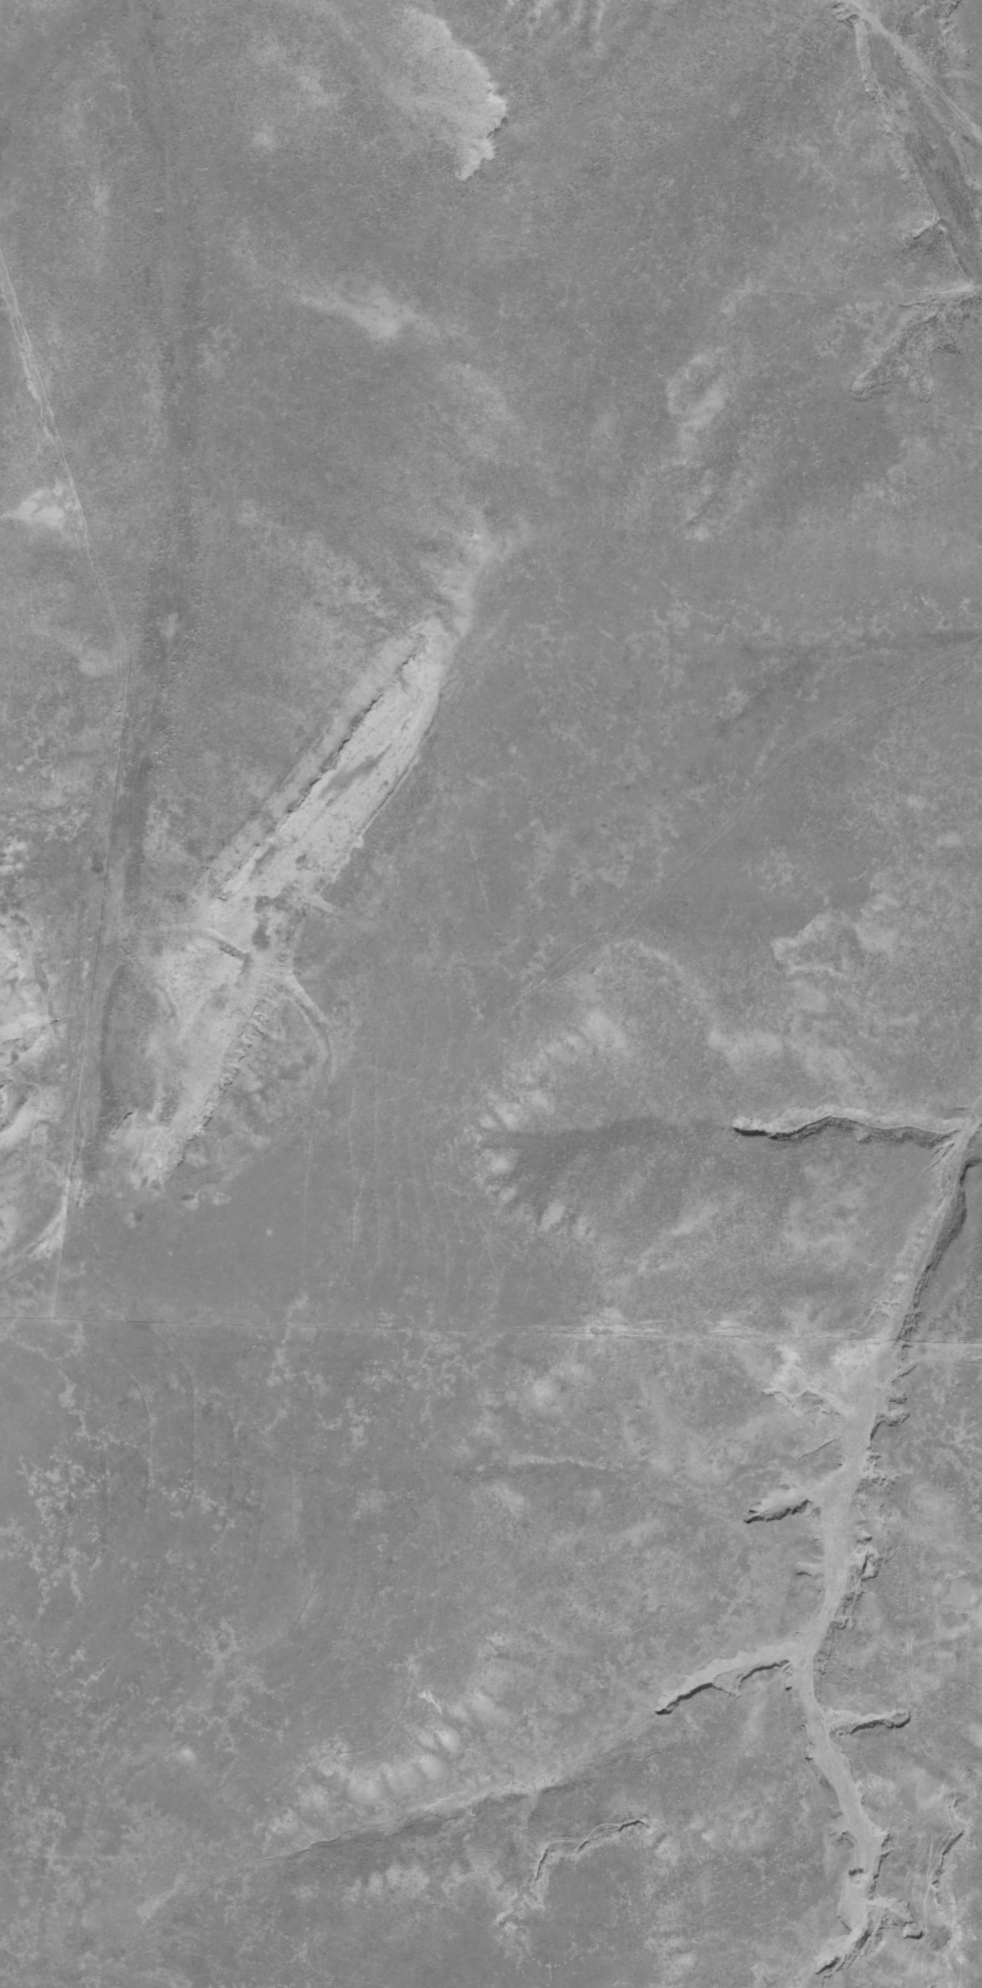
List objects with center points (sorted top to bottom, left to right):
road: (25, 1174)

